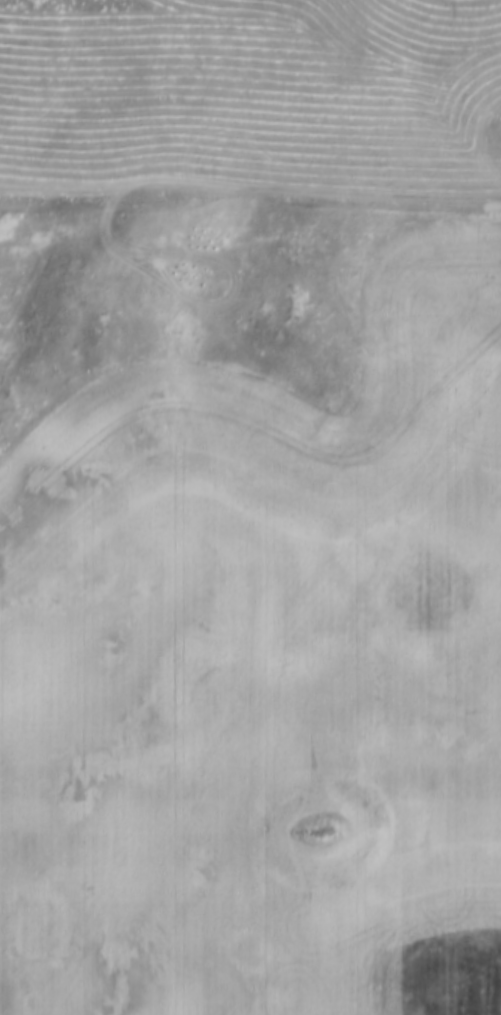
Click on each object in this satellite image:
quarry: (466, 3)
road: (250, 194)

